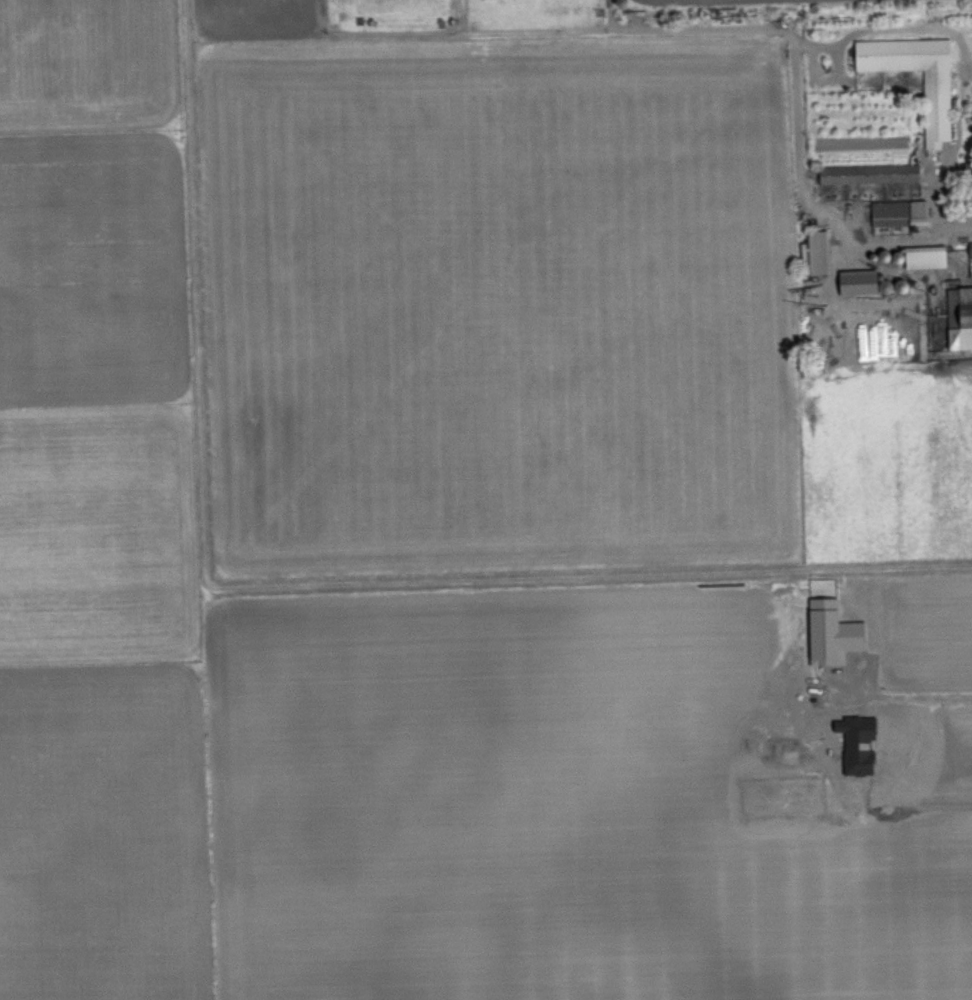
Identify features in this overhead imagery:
building: (935, 104)
road: (946, 161)
building: (866, 173)
building: (970, 177)
building: (897, 212)
building: (815, 251)
building: (969, 251)
building: (922, 256)
building: (854, 281)
building: (959, 317)
road: (911, 696)

